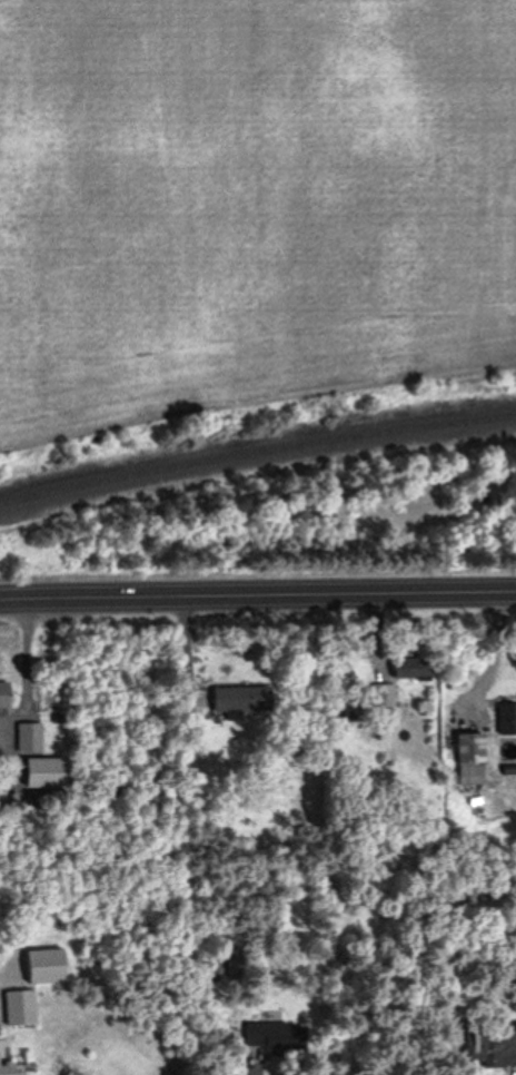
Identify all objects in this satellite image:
road: (482, 194)
airport: (249, 204)
road: (291, 305)
railway: (256, 450)
road: (257, 593)
building: (408, 673)
building: (381, 696)
building: (238, 699)
building: (3, 700)
building: (508, 718)
building: (29, 737)
building: (467, 759)
building: (42, 773)
building: (216, 967)
building: (18, 1007)
building: (259, 1035)
building: (492, 1044)
building: (4, 1068)

